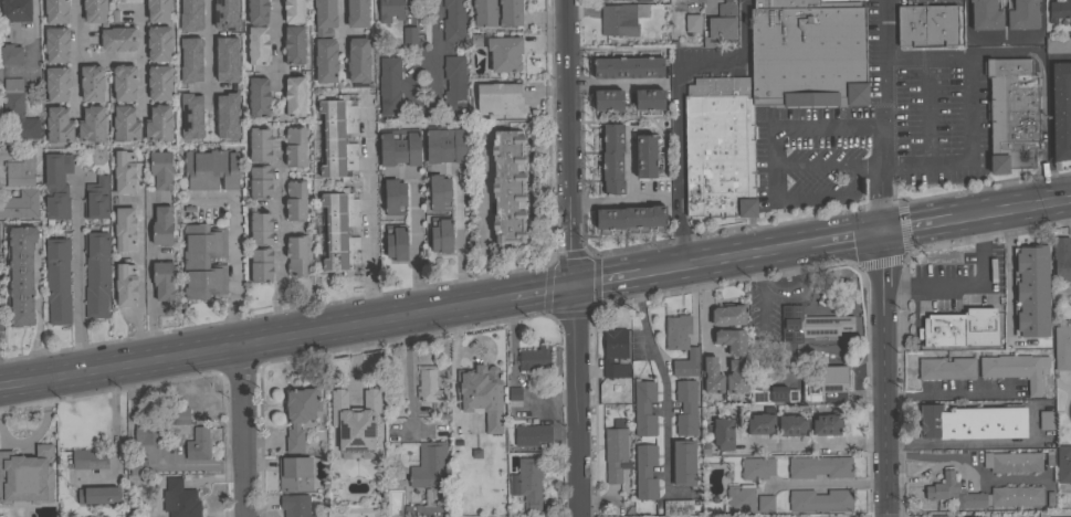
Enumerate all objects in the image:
building: (601, 0)
building: (641, 0)
building: (56, 10)
building: (95, 10)
building: (158, 10)
building: (294, 10)
building: (391, 10)
building: (1059, 10)
building: (258, 11)
building: (201, 12)
building: (497, 12)
building: (357, 13)
building: (15, 14)
building: (181, 14)
building: (217, 14)
building: (1022, 14)
building: (985, 15)
building: (621, 18)
building: (453, 20)
building: (691, 22)
building: (721, 24)
building: (926, 24)
road: (435, 28)
building: (408, 35)
building: (118, 38)
building: (325, 41)
building: (159, 42)
road: (275, 42)
building: (56, 43)
building: (258, 44)
building: (294, 44)
building: (1058, 44)
building: (219, 51)
road: (34, 53)
building: (504, 53)
building: (11, 54)
road: (108, 56)
road: (75, 57)
building: (181, 60)
building: (358, 60)
road: (141, 61)
building: (628, 67)
building: (0, 73)
building: (92, 82)
building: (124, 82)
building: (159, 82)
building: (57, 83)
building: (454, 84)
building: (389, 85)
building: (218, 94)
building: (768, 94)
building: (295, 95)
building: (259, 96)
building: (497, 98)
building: (649, 98)
building: (608, 99)
road: (678, 104)
road: (416, 105)
road: (969, 106)
road: (926, 107)
building: (19, 109)
building: (1061, 109)
building: (1012, 114)
building: (182, 116)
building: (218, 116)
road: (880, 116)
road: (1048, 119)
building: (159, 123)
building: (59, 124)
building: (92, 124)
building: (125, 124)
road: (791, 127)
building: (199, 135)
building: (338, 137)
building: (260, 144)
road: (570, 144)
building: (447, 145)
building: (399, 146)
building: (295, 147)
building: (643, 156)
building: (611, 158)
road: (827, 163)
building: (211, 168)
building: (161, 169)
building: (21, 170)
building: (125, 172)
building: (260, 181)
building: (57, 184)
building: (508, 186)
building: (440, 192)
road: (828, 196)
building: (158, 197)
building: (395, 197)
building: (96, 198)
building: (296, 199)
road: (618, 201)
building: (20, 203)
road: (1009, 210)
road: (368, 211)
road: (484, 215)
building: (630, 217)
road: (461, 222)
building: (162, 225)
road: (914, 226)
building: (261, 228)
building: (125, 229)
road: (414, 229)
building: (340, 231)
traffic signals: (881, 233)
building: (441, 234)
road: (844, 240)
road: (276, 241)
building: (396, 243)
building: (296, 254)
road: (232, 257)
road: (746, 257)
building: (1061, 257)
building: (203, 261)
building: (261, 264)
building: (96, 272)
road: (662, 272)
road: (1008, 272)
building: (21, 274)
road: (76, 277)
building: (59, 279)
road: (138, 279)
building: (164, 279)
road: (607, 282)
building: (126, 284)
road: (960, 285)
traffic signals: (575, 287)
building: (1031, 291)
road: (543, 293)
road: (38, 313)
building: (729, 314)
road: (705, 316)
building: (1, 321)
building: (808, 325)
building: (960, 328)
building: (678, 331)
building: (731, 340)
road: (254, 342)
building: (1062, 348)
building: (613, 354)
building: (533, 359)
building: (686, 363)
building: (946, 368)
building: (1016, 368)
road: (510, 372)
road: (407, 373)
building: (712, 374)
road: (882, 374)
building: (736, 376)
road: (663, 381)
building: (823, 381)
building: (429, 383)
building: (513, 393)
building: (480, 394)
building: (773, 394)
road: (948, 394)
road: (576, 401)
building: (686, 407)
building: (643, 408)
building: (298, 414)
building: (353, 419)
building: (1046, 419)
building: (762, 422)
building: (973, 422)
building: (827, 423)
building: (164, 425)
building: (791, 425)
road: (240, 431)
building: (722, 434)
building: (532, 435)
road: (816, 441)
road: (978, 441)
building: (199, 444)
building: (615, 453)
road: (959, 456)
building: (88, 458)
building: (1012, 461)
building: (685, 463)
building: (1063, 463)
building: (429, 465)
building: (136, 466)
building: (819, 466)
building: (757, 467)
building: (645, 471)
building: (295, 473)
building: (25, 475)
building: (527, 483)
road: (825, 483)
building: (985, 494)
building: (97, 496)
building: (741, 498)
building: (180, 499)
building: (1070, 499)
building: (820, 500)
building: (765, 503)
building: (298, 505)
building: (678, 507)
building: (424, 508)
building: (683, 516)
building: (938, 516)

